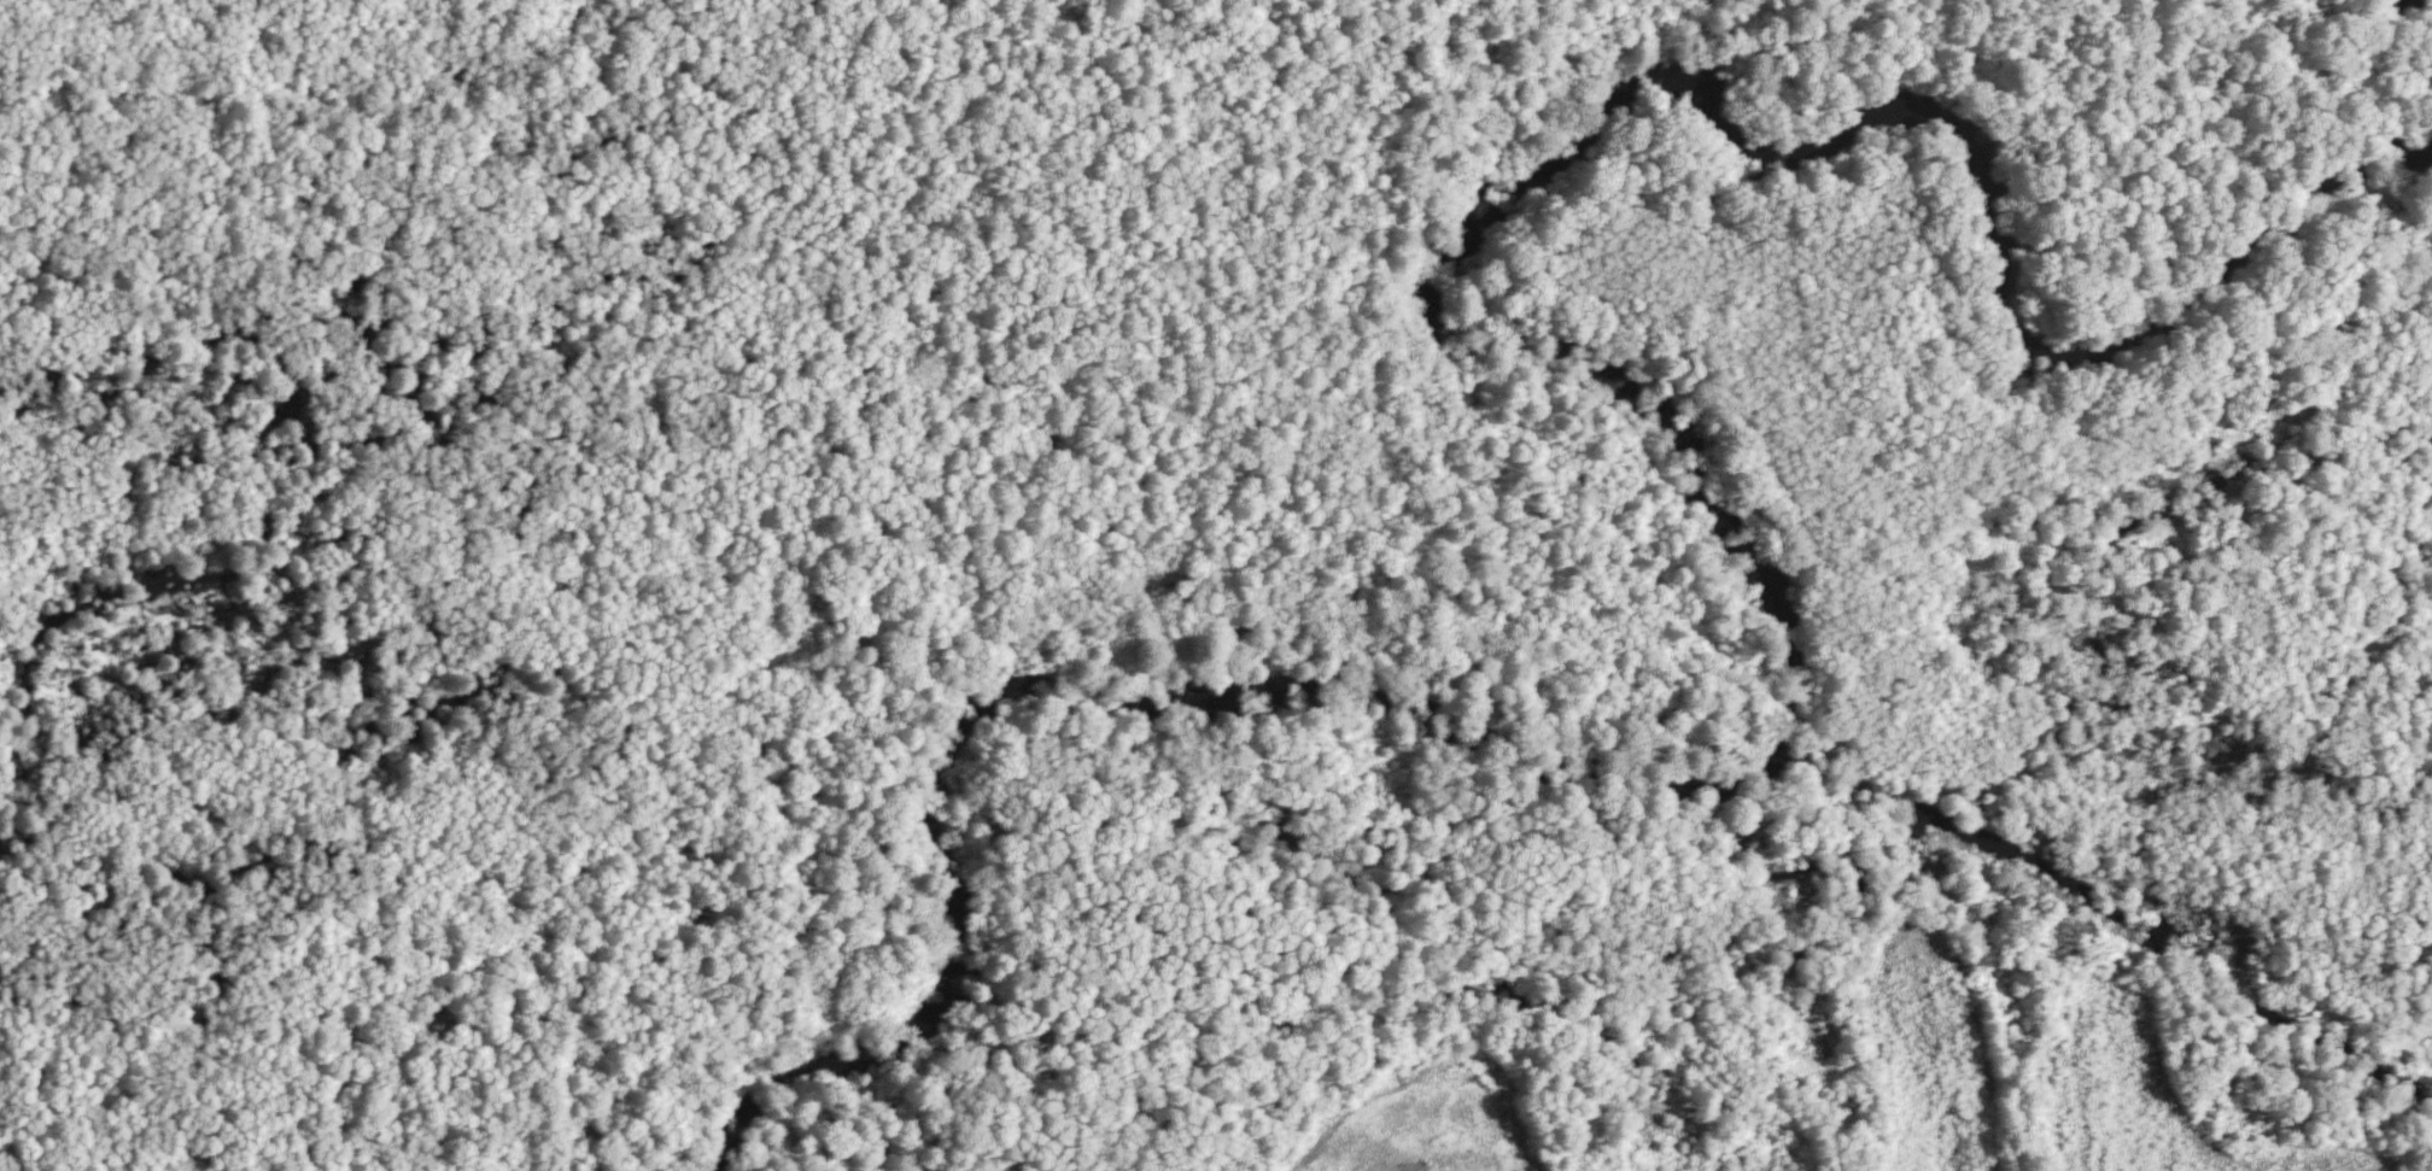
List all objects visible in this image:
river: (1696, 466)

